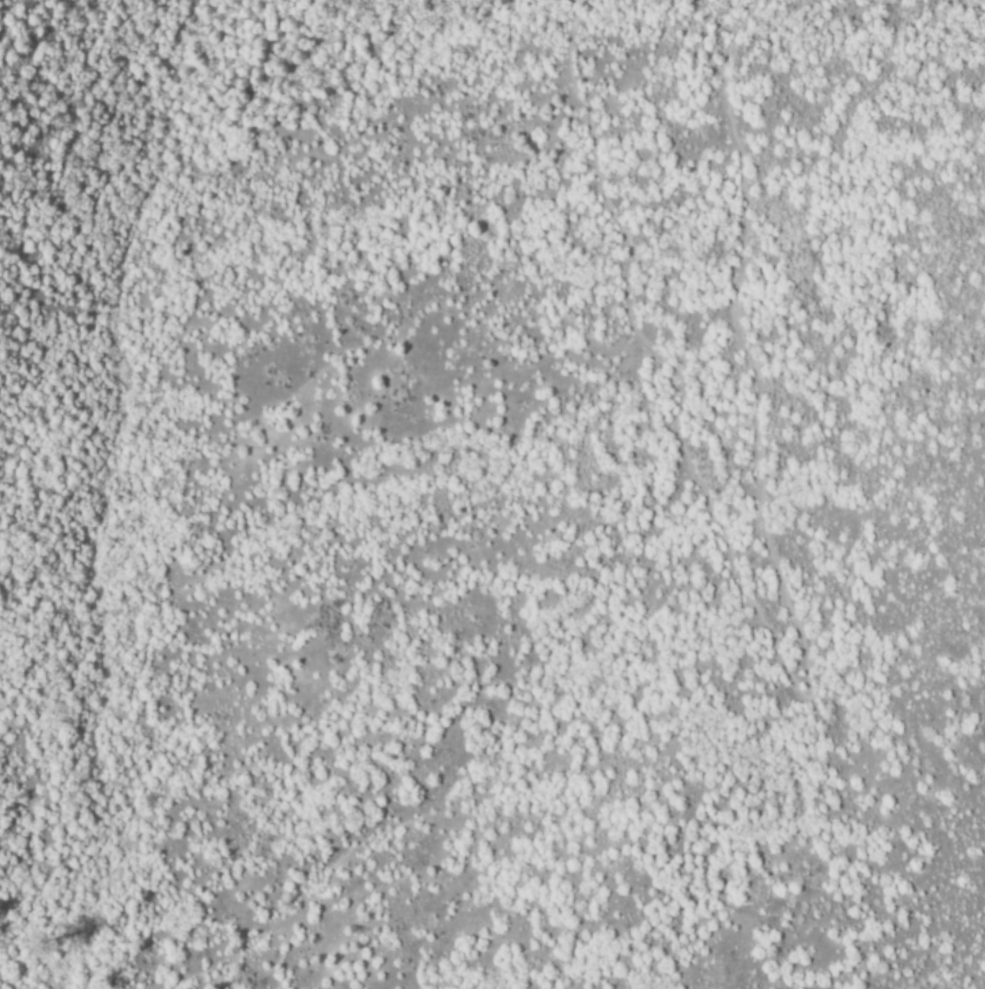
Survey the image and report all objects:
road: (793, 684)

